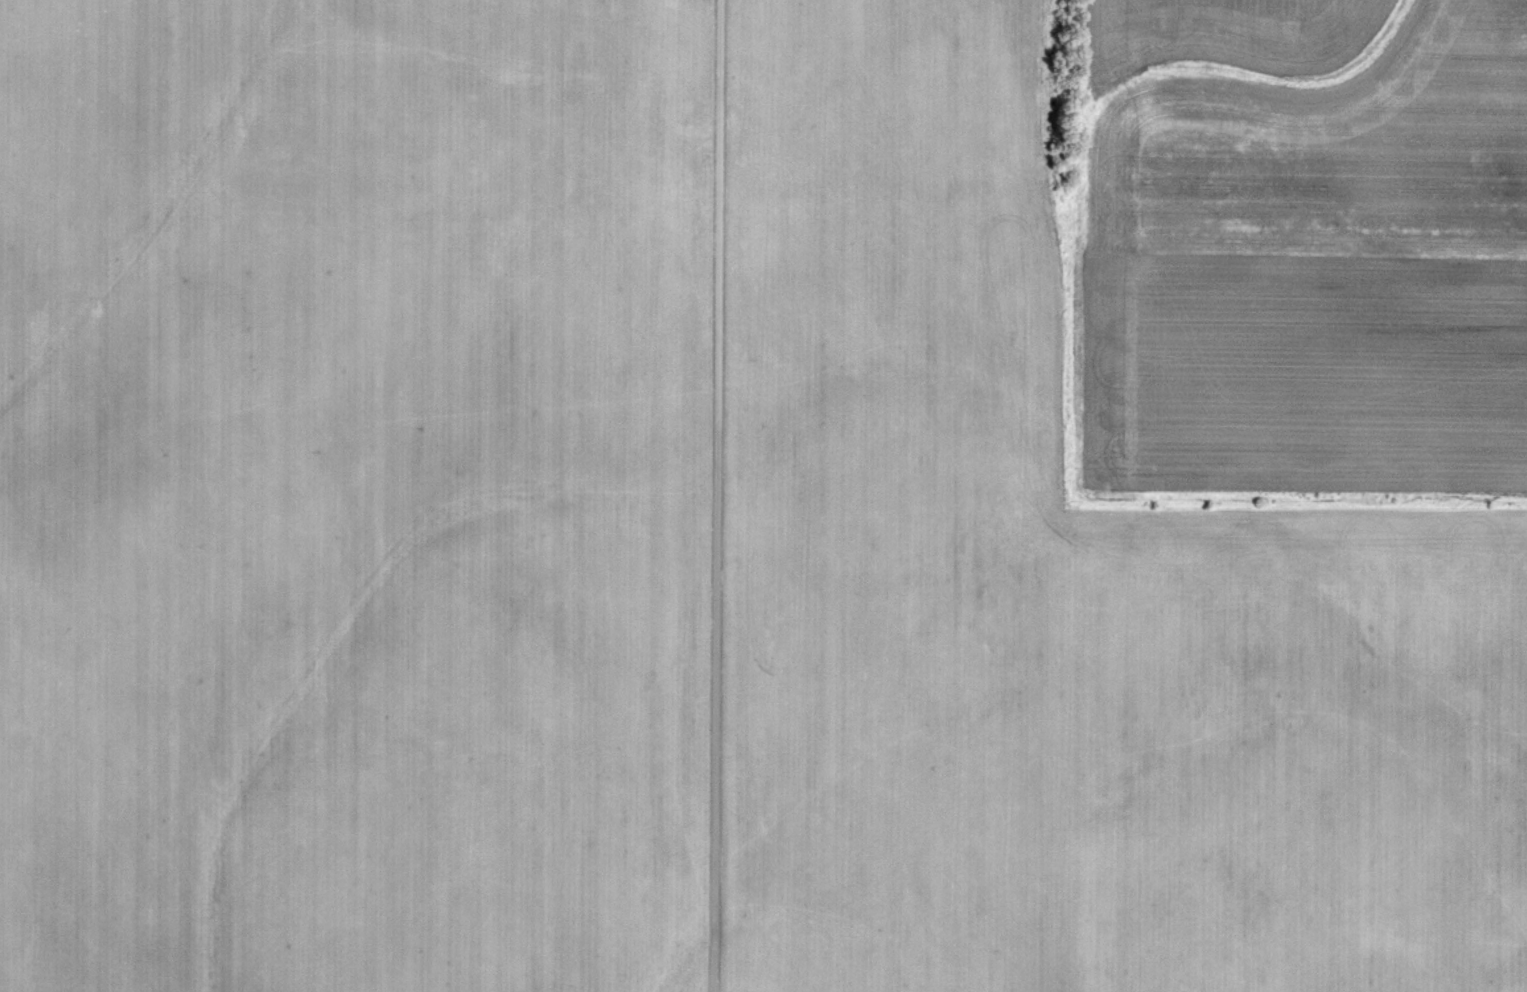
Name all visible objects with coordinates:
road: (718, 496)

